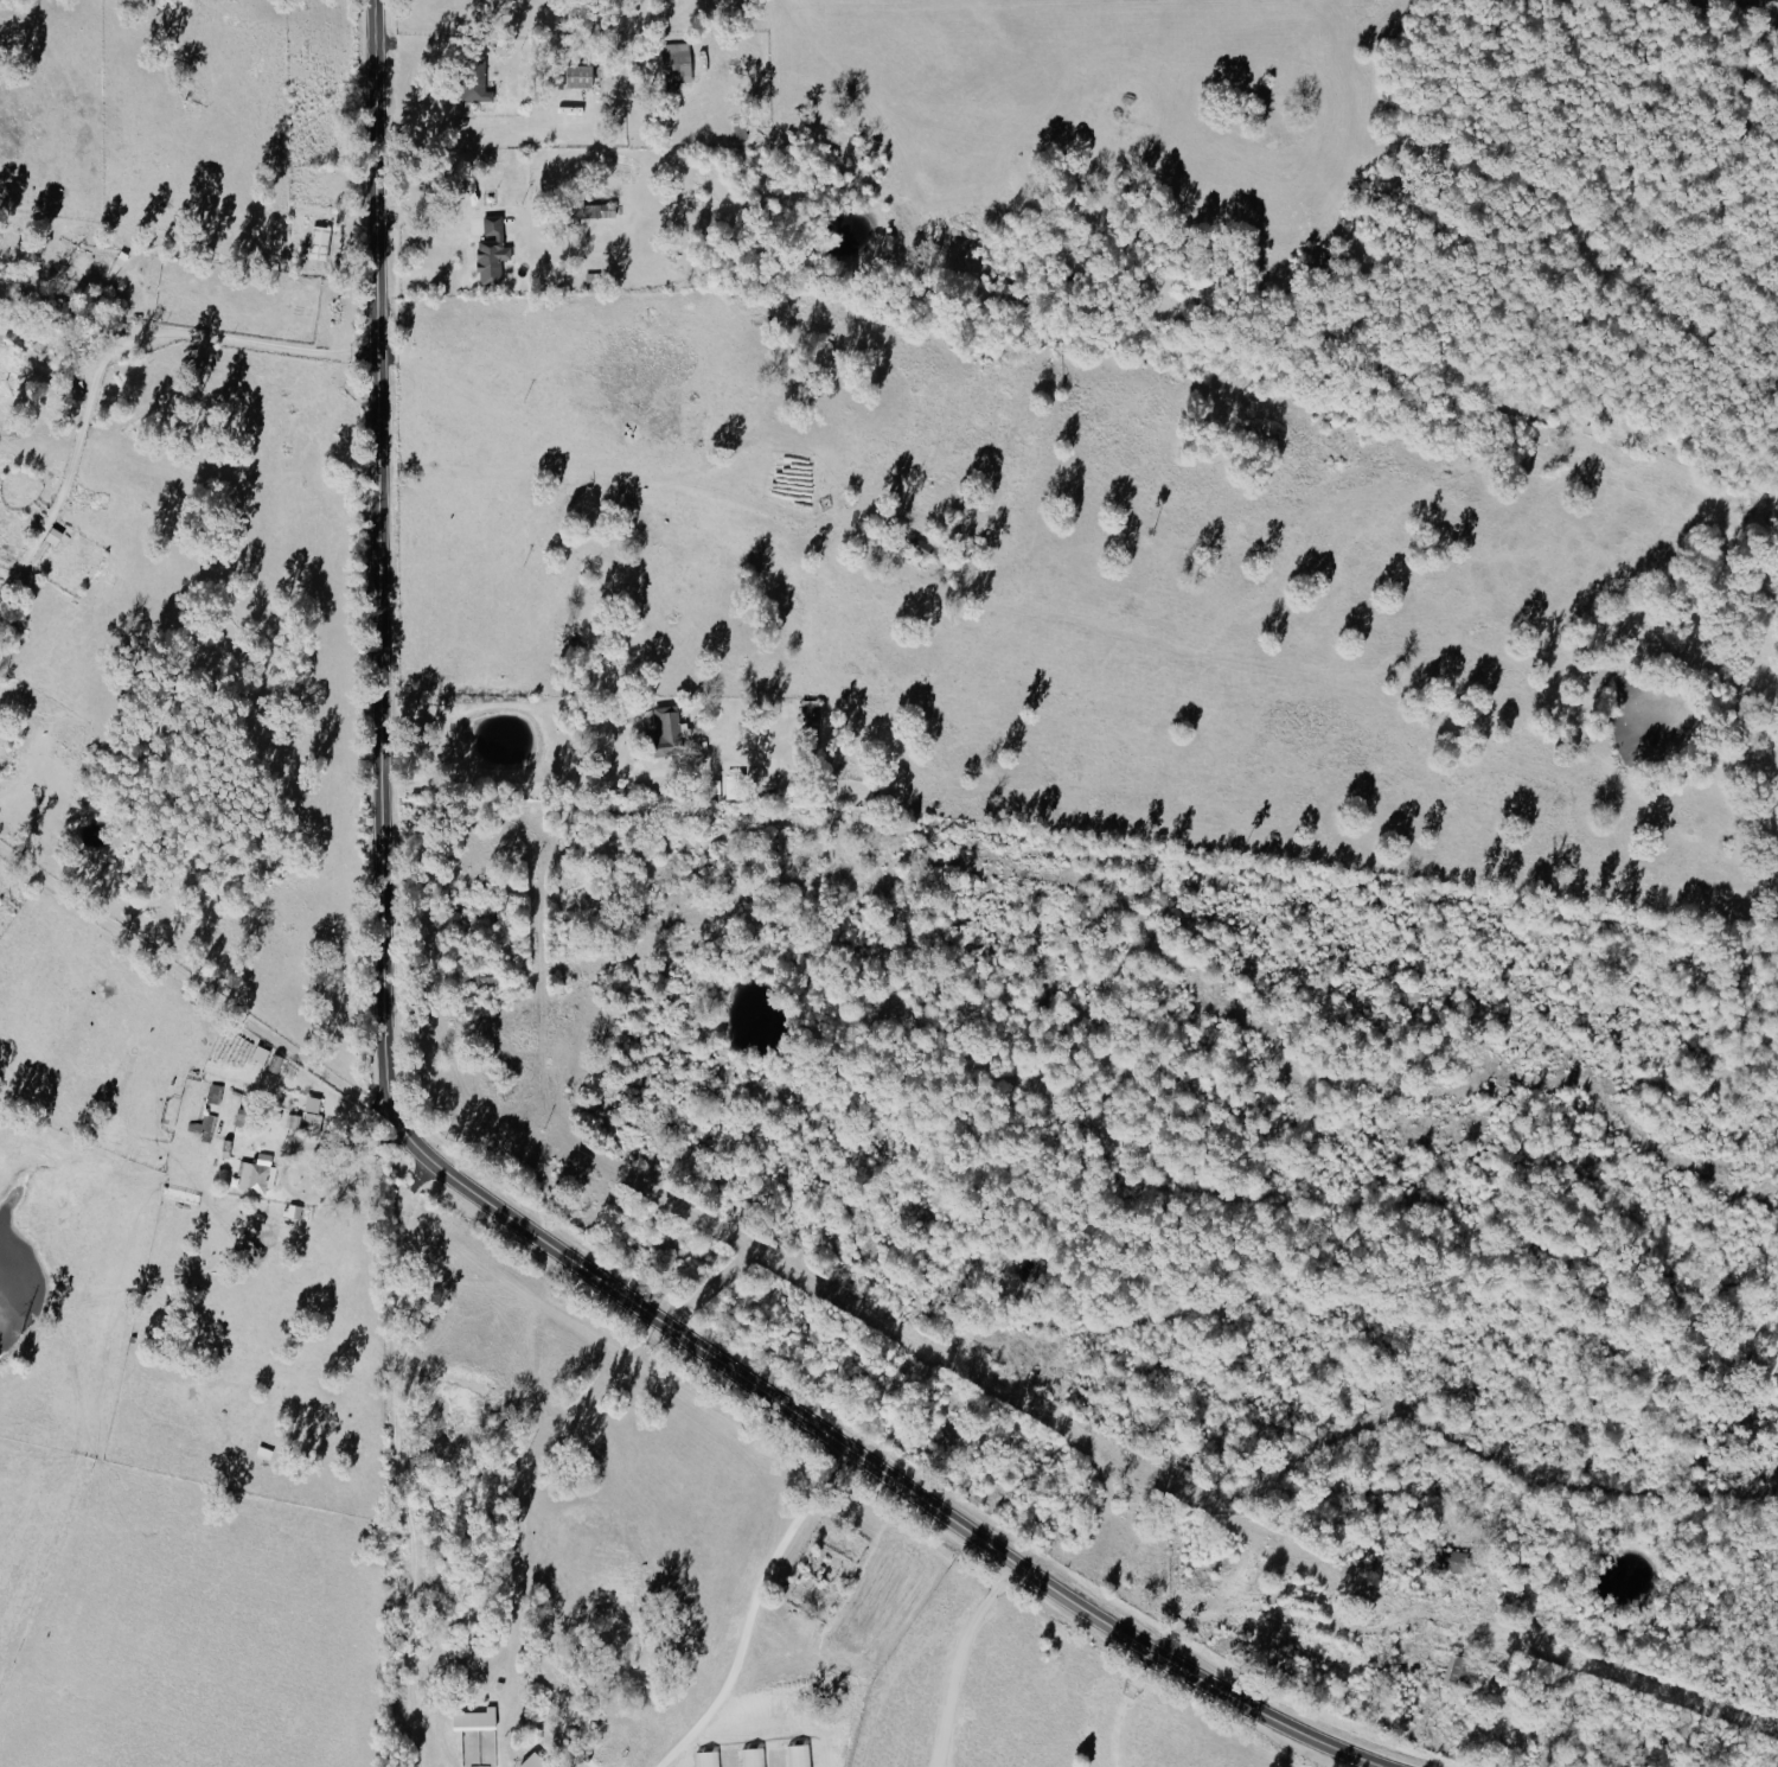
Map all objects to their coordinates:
building: (678, 63)
building: (582, 77)
building: (477, 95)
building: (320, 242)
building: (493, 249)
road: (104, 352)
road: (40, 363)
building: (671, 731)
road: (517, 785)
building: (736, 786)
building: (277, 1064)
building: (216, 1093)
building: (313, 1115)
building: (206, 1127)
road: (422, 1146)
building: (258, 1174)
road: (357, 1180)
road: (404, 1459)
building: (1451, 1559)
road: (762, 1609)
building: (1463, 1671)
building: (536, 1761)

